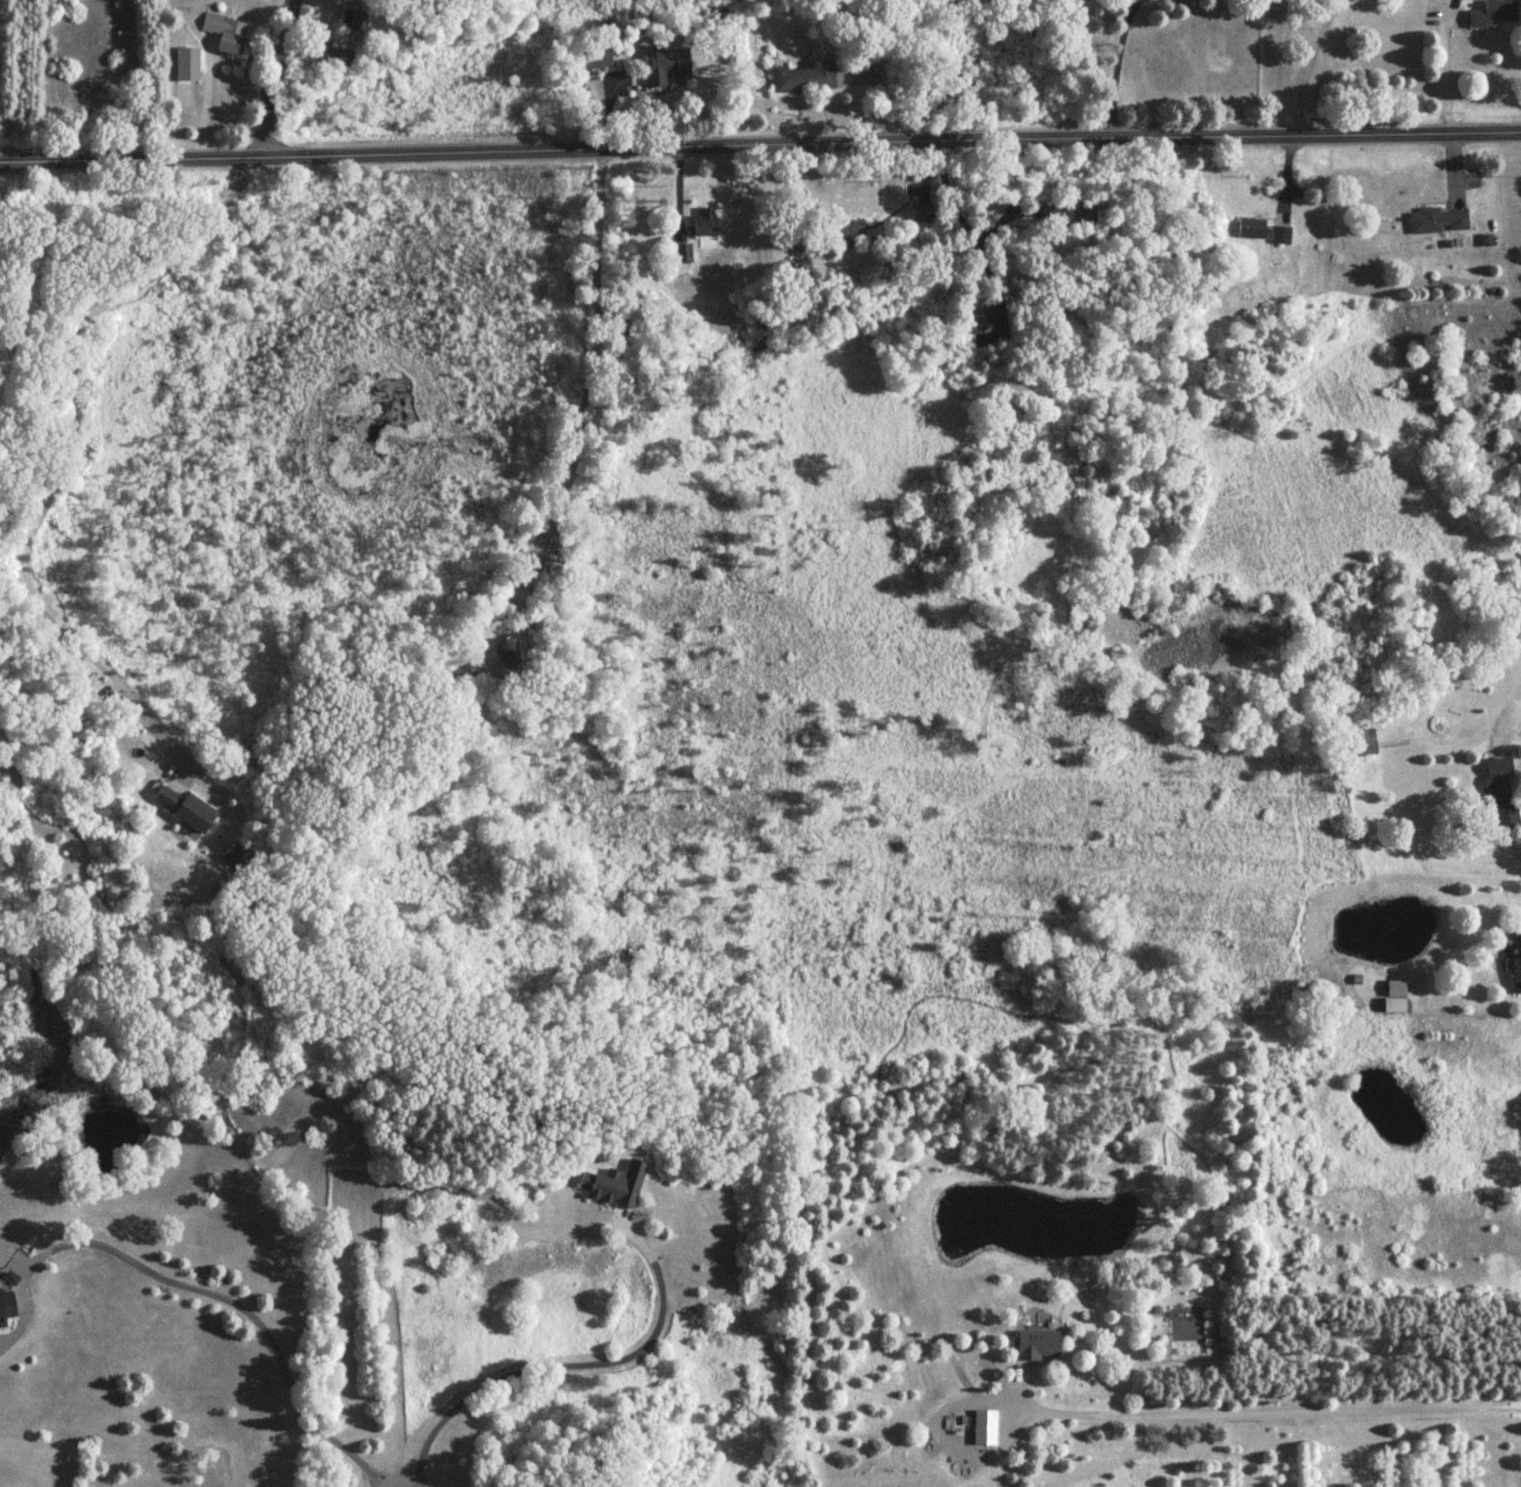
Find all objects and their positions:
building: (1494, 14)
building: (353, 24)
building: (226, 34)
road: (624, 36)
building: (586, 52)
road: (1307, 65)
building: (188, 66)
building: (664, 68)
road: (1117, 68)
road: (1447, 72)
road: (278, 78)
building: (805, 79)
road: (878, 92)
road: (204, 104)
road: (604, 111)
road: (760, 146)
road: (1291, 166)
road: (678, 188)
building: (922, 215)
road: (964, 216)
building: (1080, 217)
building: (1439, 221)
building: (703, 224)
building: (1252, 229)
building: (848, 235)
building: (1282, 237)
building: (682, 255)
road: (1515, 309)
building: (980, 318)
building: (1207, 360)
road: (591, 373)
road: (64, 457)
building: (551, 565)
building: (1513, 591)
building: (509, 653)
building: (1501, 796)
building: (185, 808)
building: (1516, 976)
building: (1396, 998)
building: (616, 1186)
building: (6, 1308)
road: (242, 1308)
building: (1038, 1346)
road: (574, 1366)
road: (1276, 1413)
building: (972, 1429)

